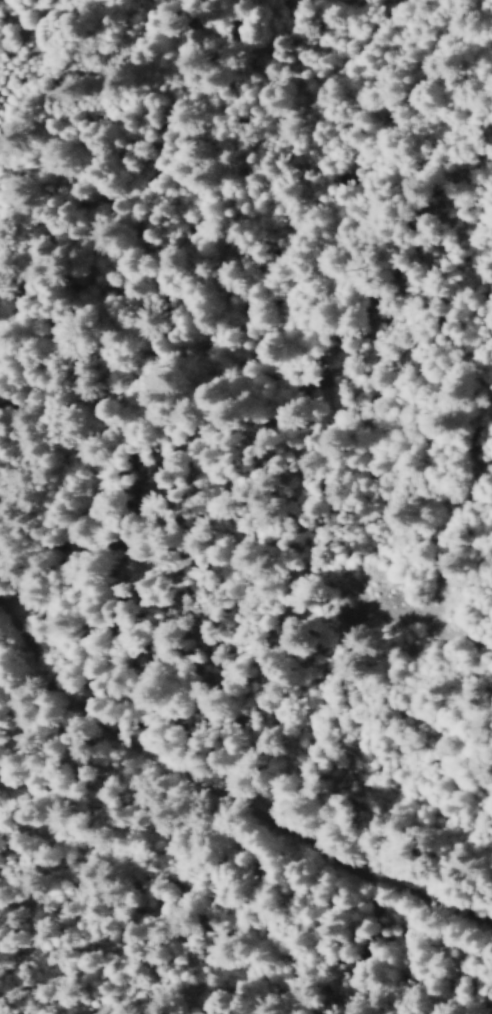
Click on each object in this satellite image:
road: (230, 809)

